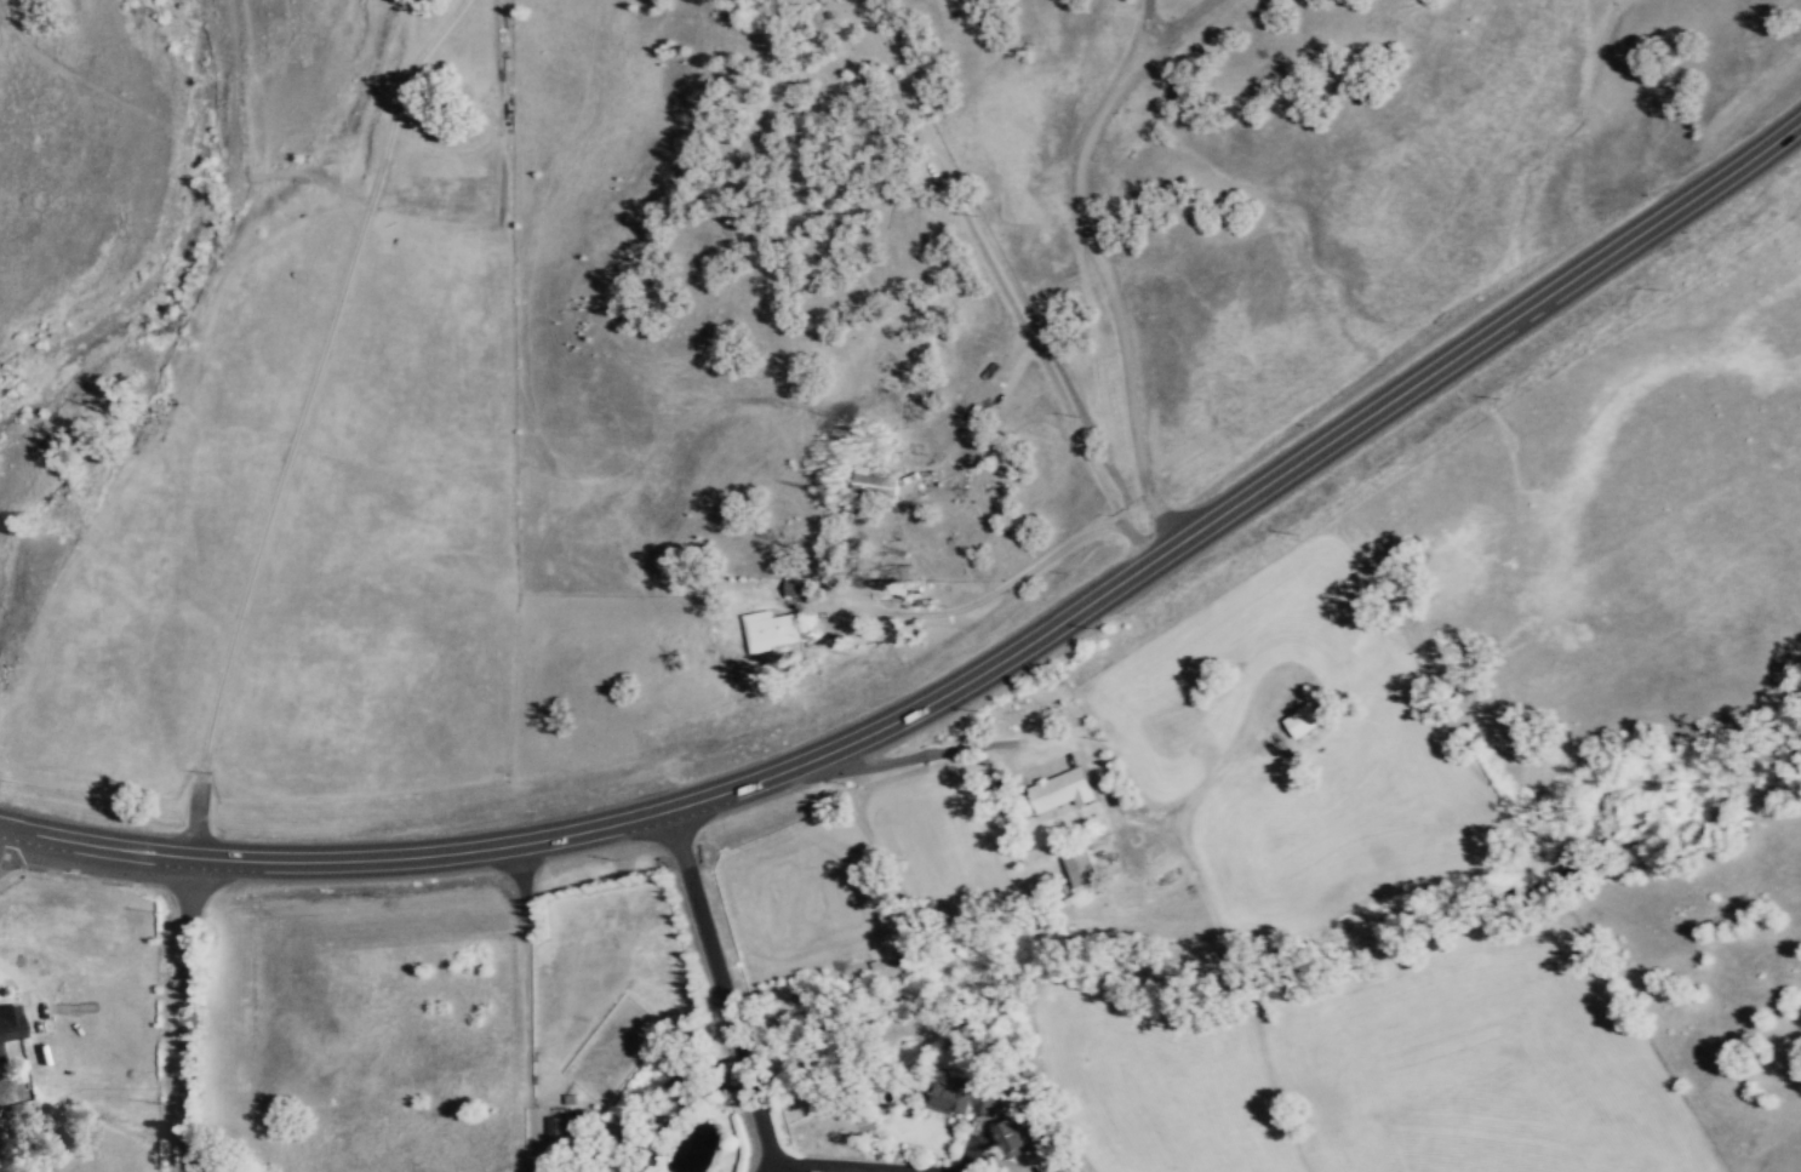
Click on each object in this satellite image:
road: (1100, 268)
road: (1008, 279)
road: (301, 416)
road: (978, 427)
building: (876, 484)
building: (797, 585)
road: (945, 611)
building: (770, 628)
road: (968, 678)
building: (1305, 719)
road: (990, 744)
road: (1214, 770)
building: (1064, 788)
road: (21, 852)
building: (1085, 869)
road: (24, 989)
road: (721, 990)
road: (1240, 990)
road: (527, 1000)
road: (189, 1012)
building: (10, 1022)
building: (0, 1059)
building: (964, 1098)
building: (562, 1132)
building: (1016, 1134)
road: (968, 1145)
road: (846, 1166)
building: (1058, 1171)

